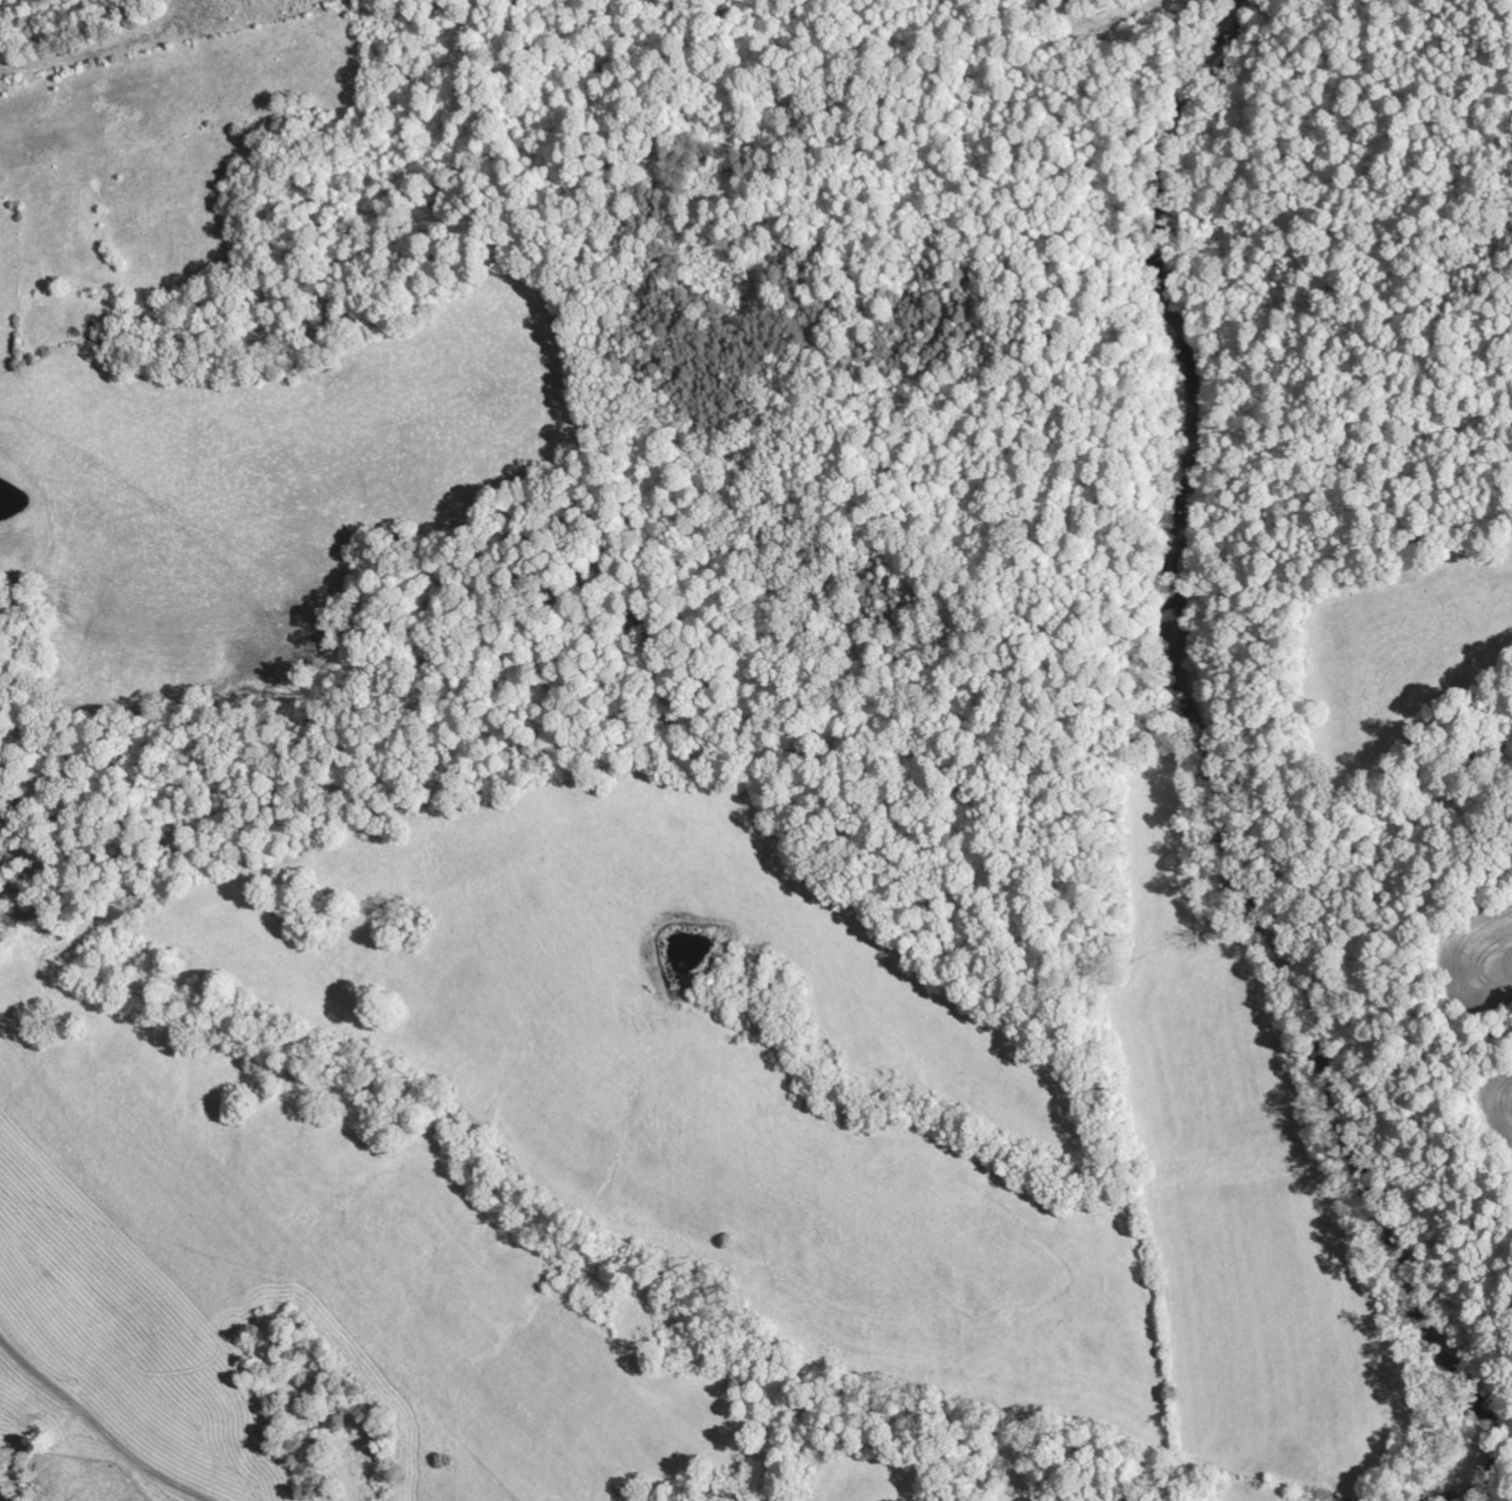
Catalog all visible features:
road: (72, 172)

